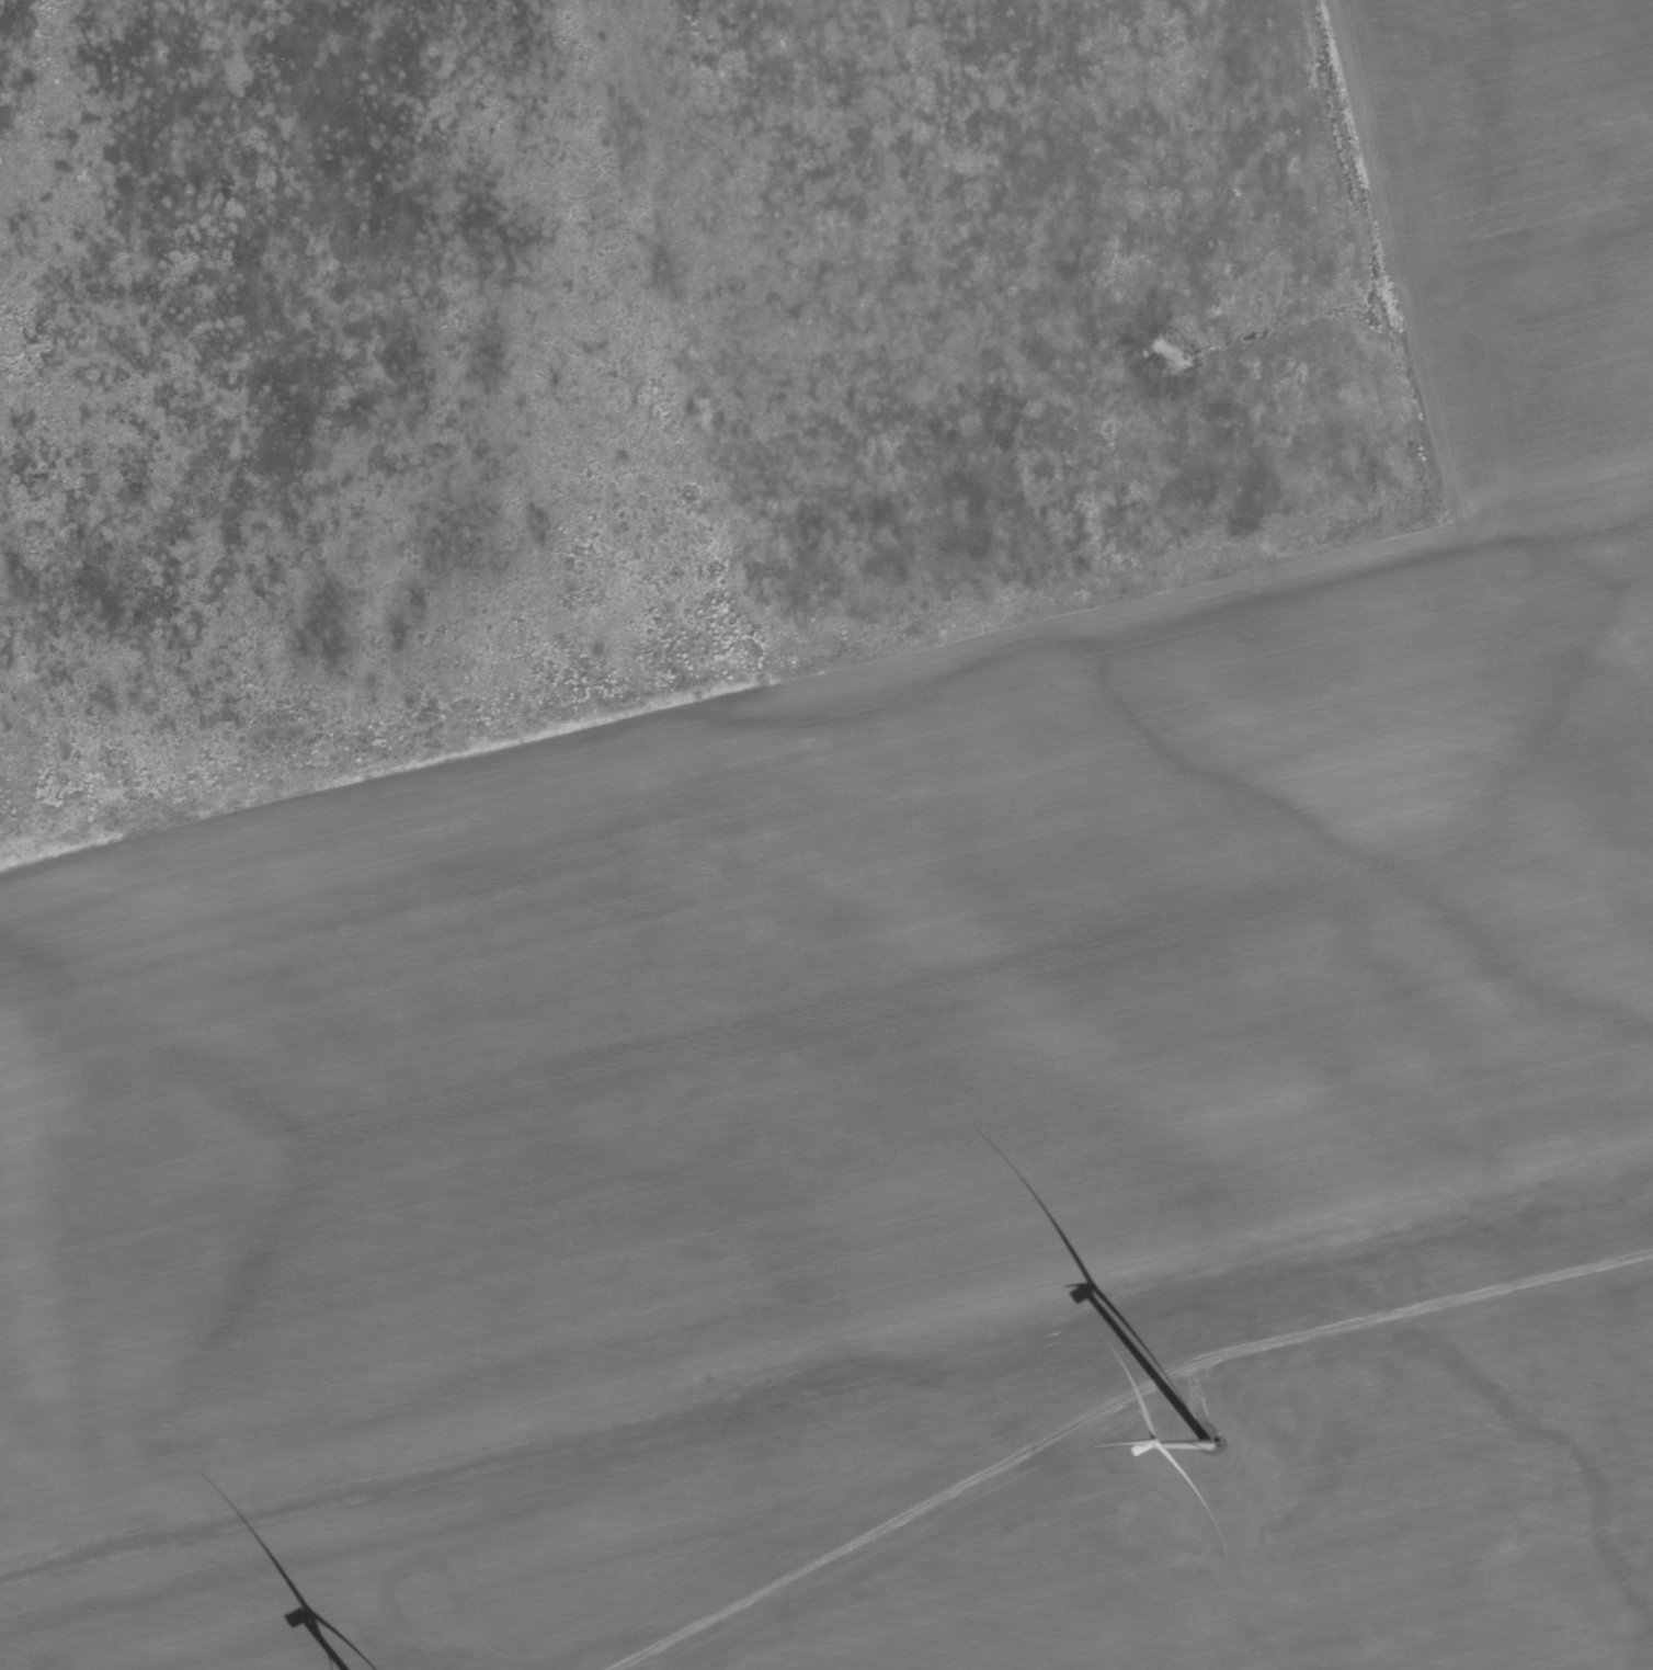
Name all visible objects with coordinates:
wind turbine: (1200, 1445)

